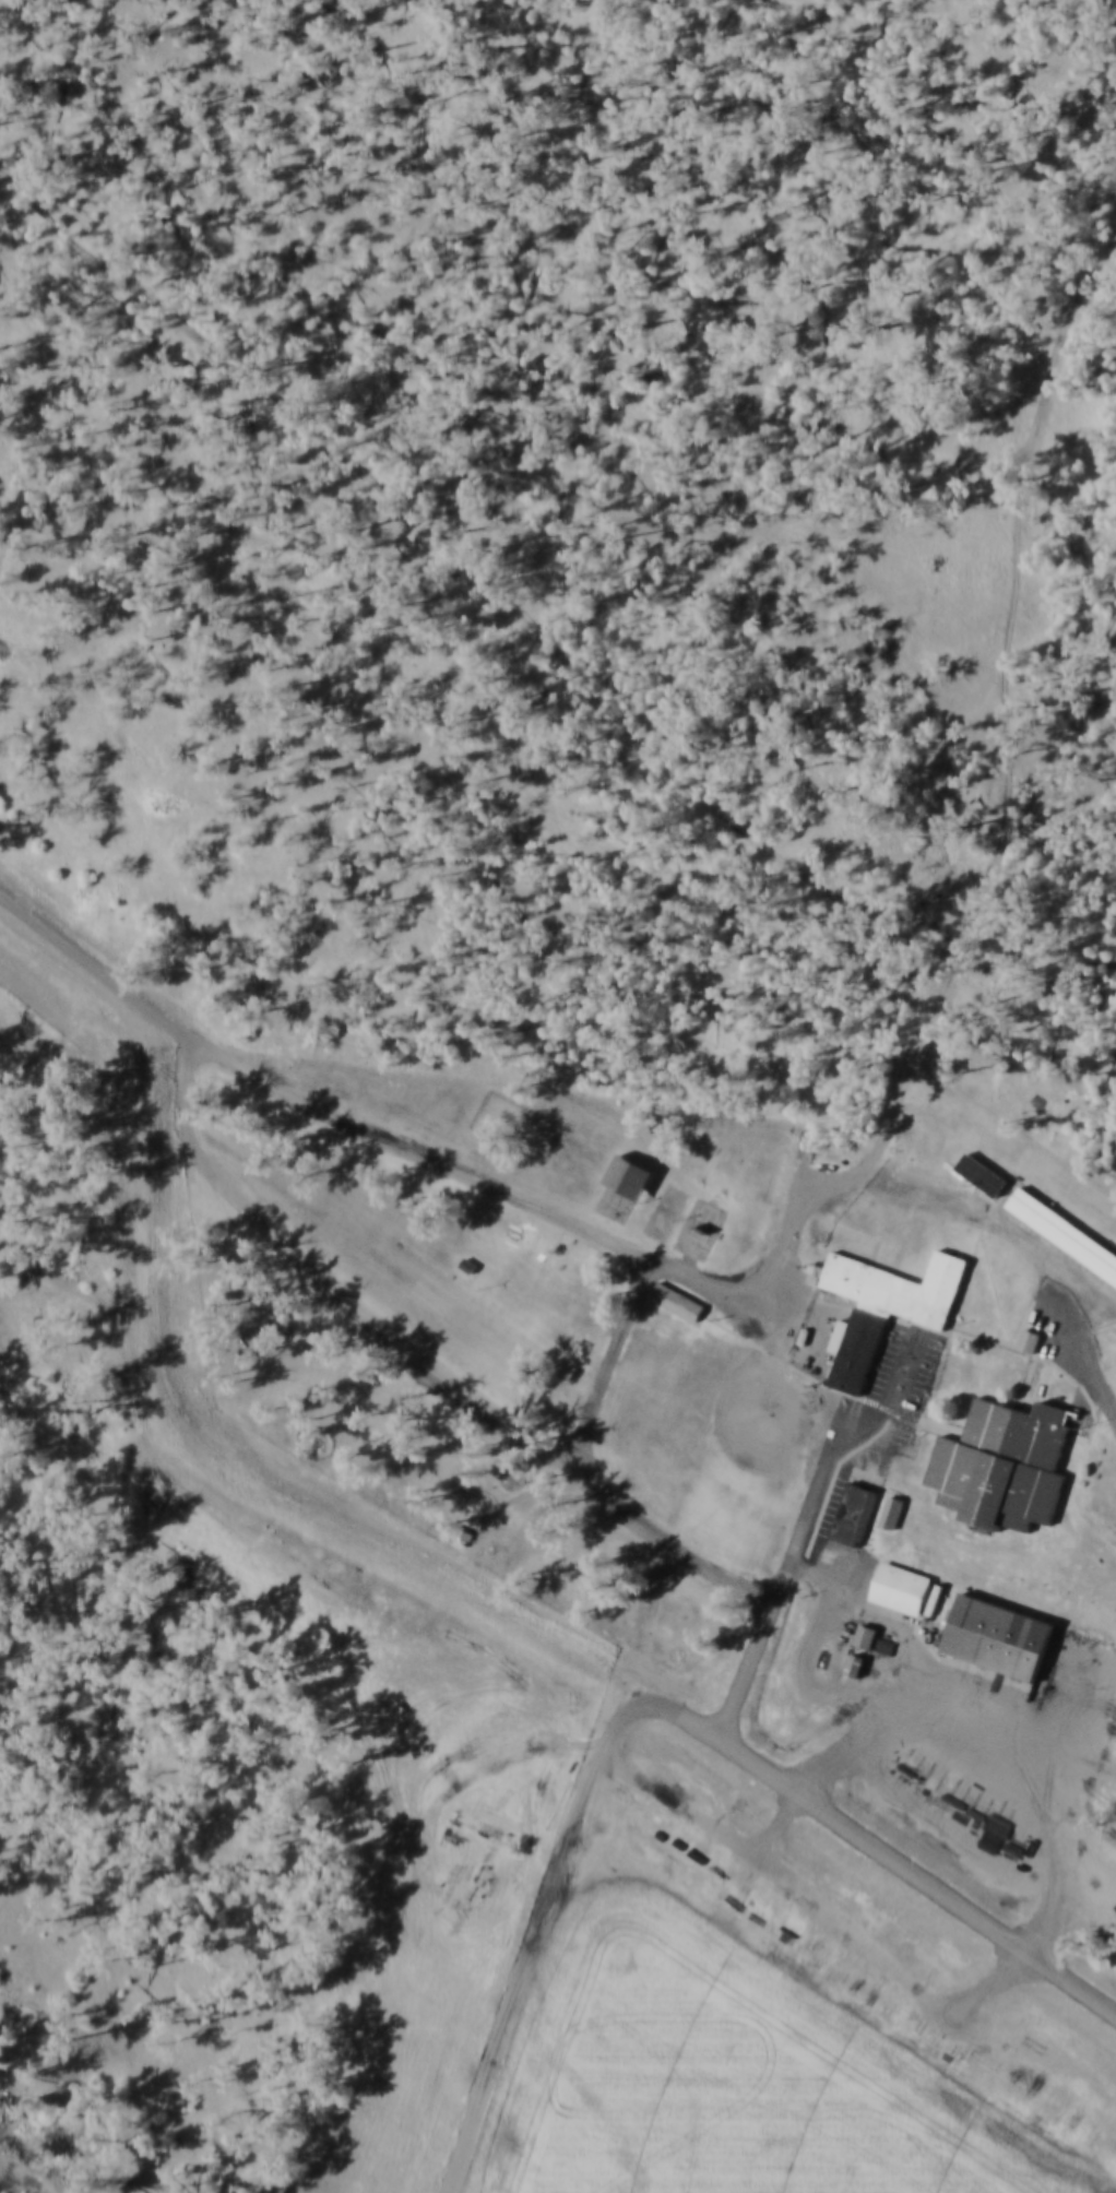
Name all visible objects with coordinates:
road: (1010, 737)
road: (458, 1167)
building: (629, 1171)
building: (982, 1173)
building: (850, 1217)
building: (1066, 1228)
building: (467, 1263)
building: (680, 1296)
building: (887, 1302)
building: (1047, 1333)
road: (407, 1350)
park: (715, 1446)
building: (1002, 1466)
building: (855, 1509)
building: (893, 1510)
road: (806, 1525)
building: (903, 1585)
building: (541, 1602)
building: (1001, 1632)
building: (865, 1633)
building: (855, 1660)
road: (642, 1704)
road: (530, 1944)
road: (26, 2176)

